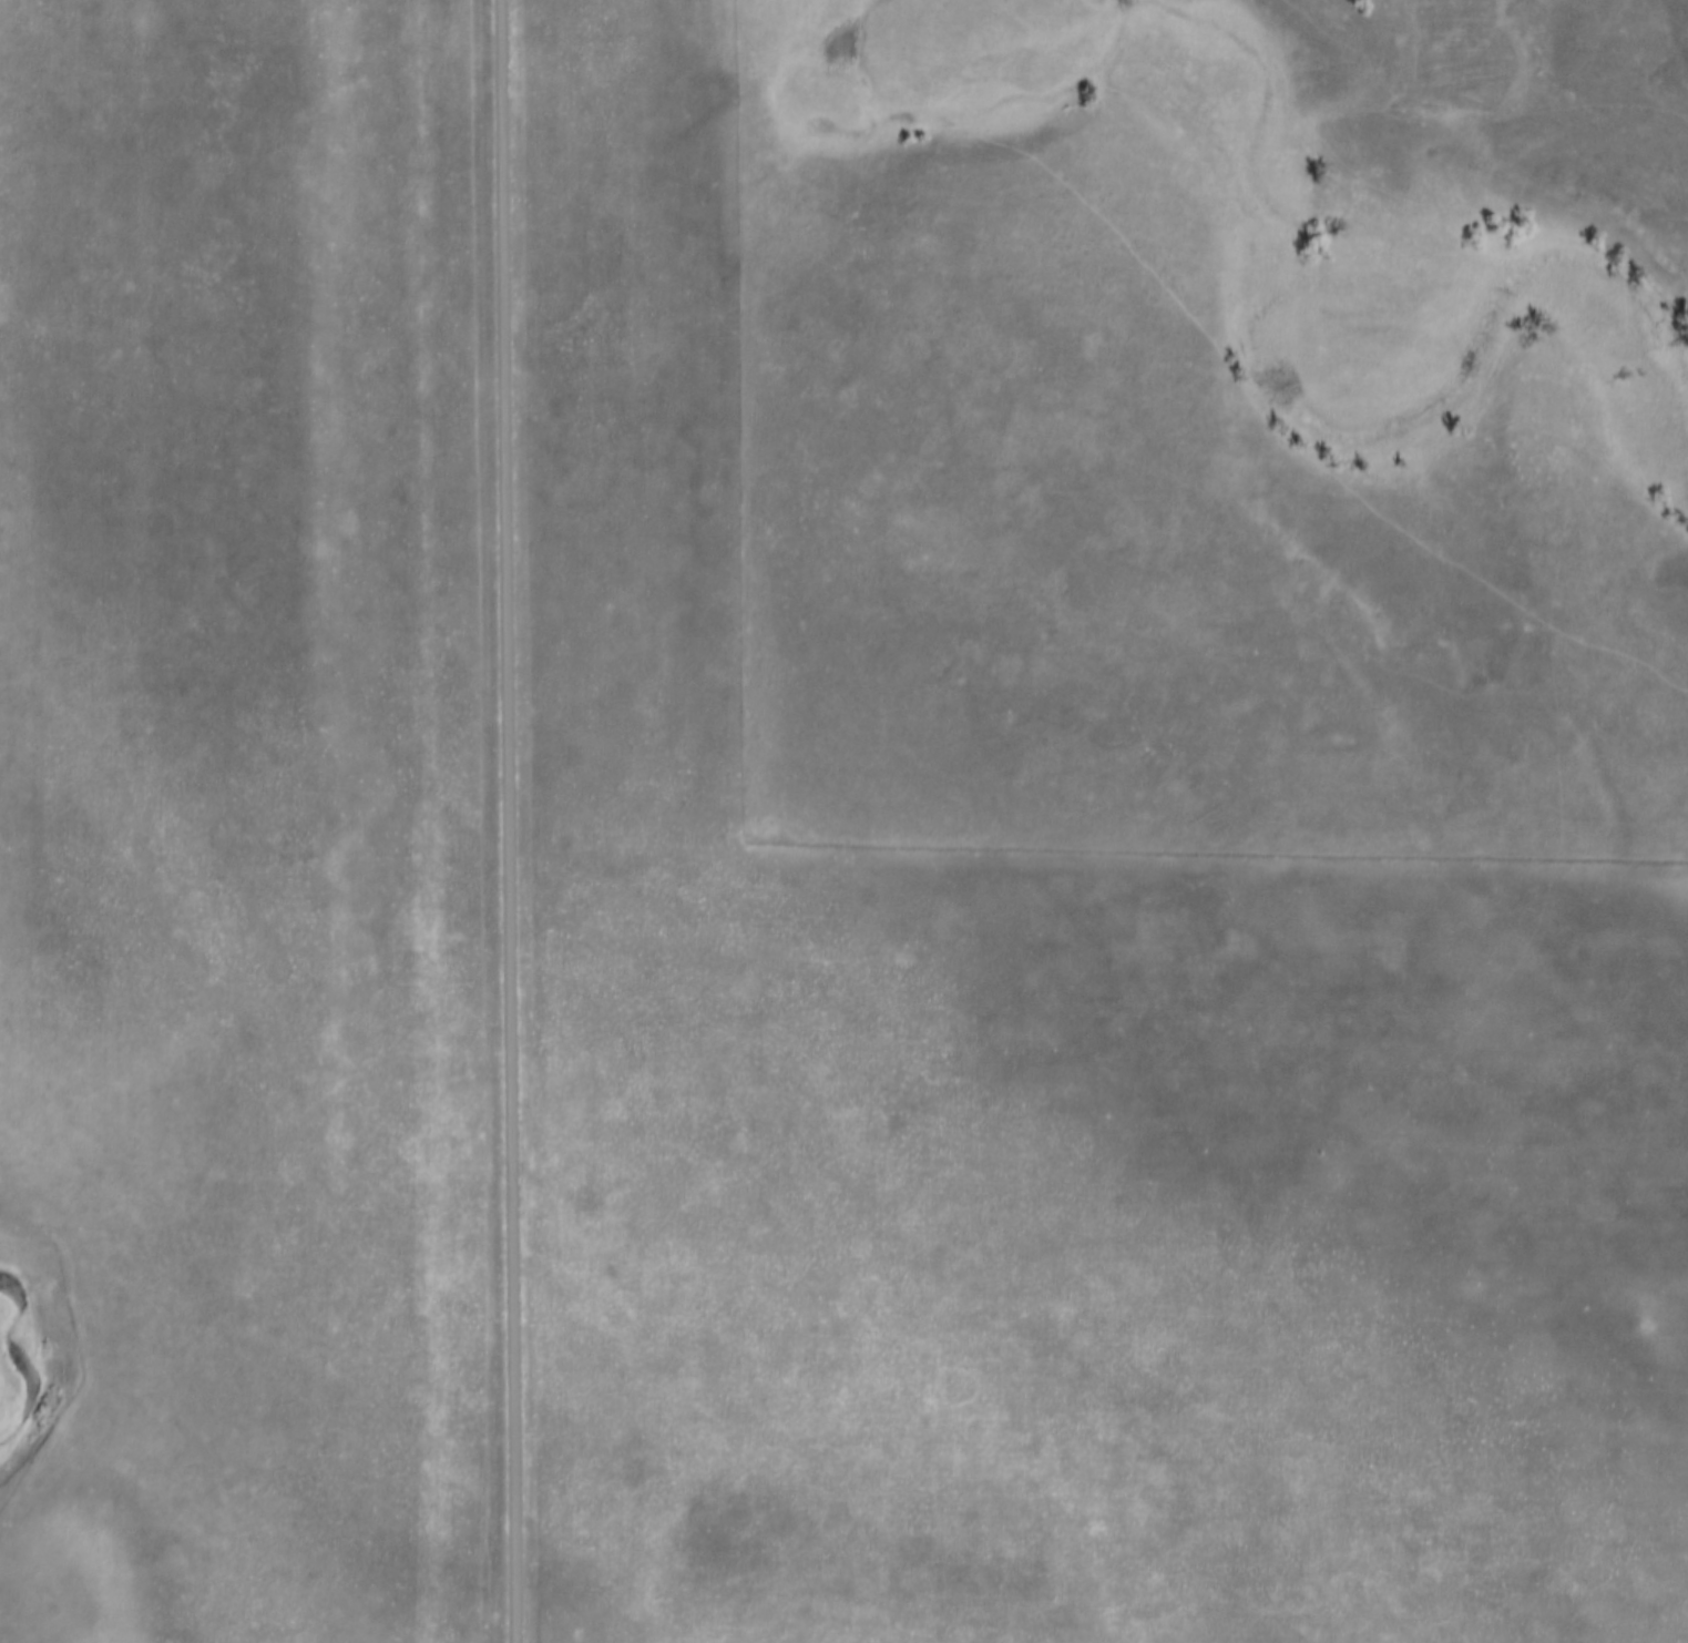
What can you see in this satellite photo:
road: (513, 820)

